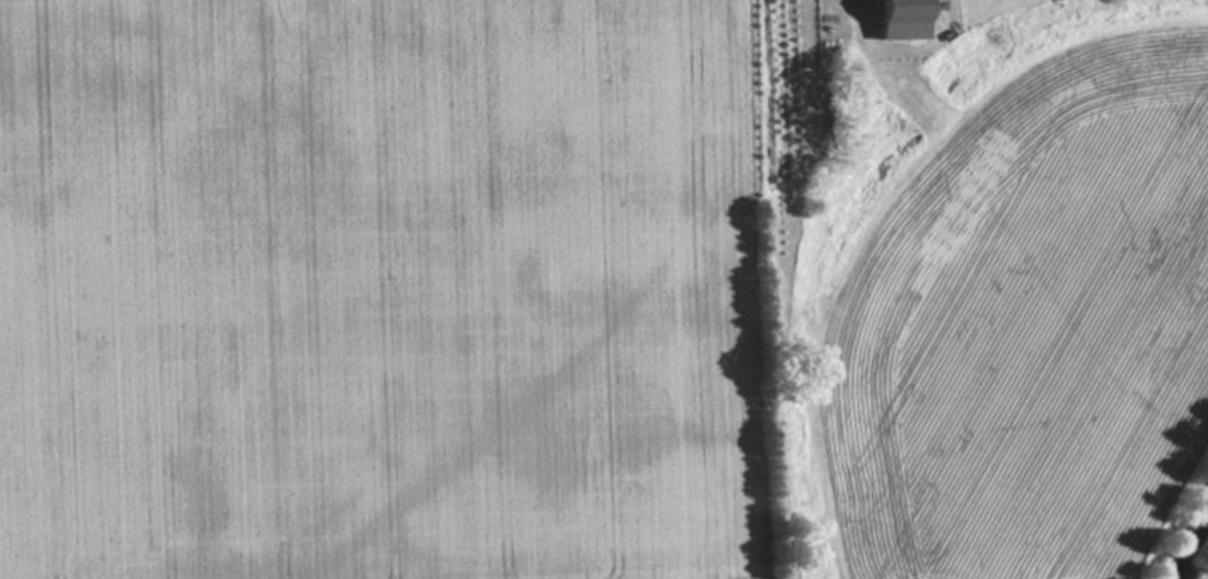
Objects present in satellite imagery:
building: (905, 20)
river: (1200, 559)

